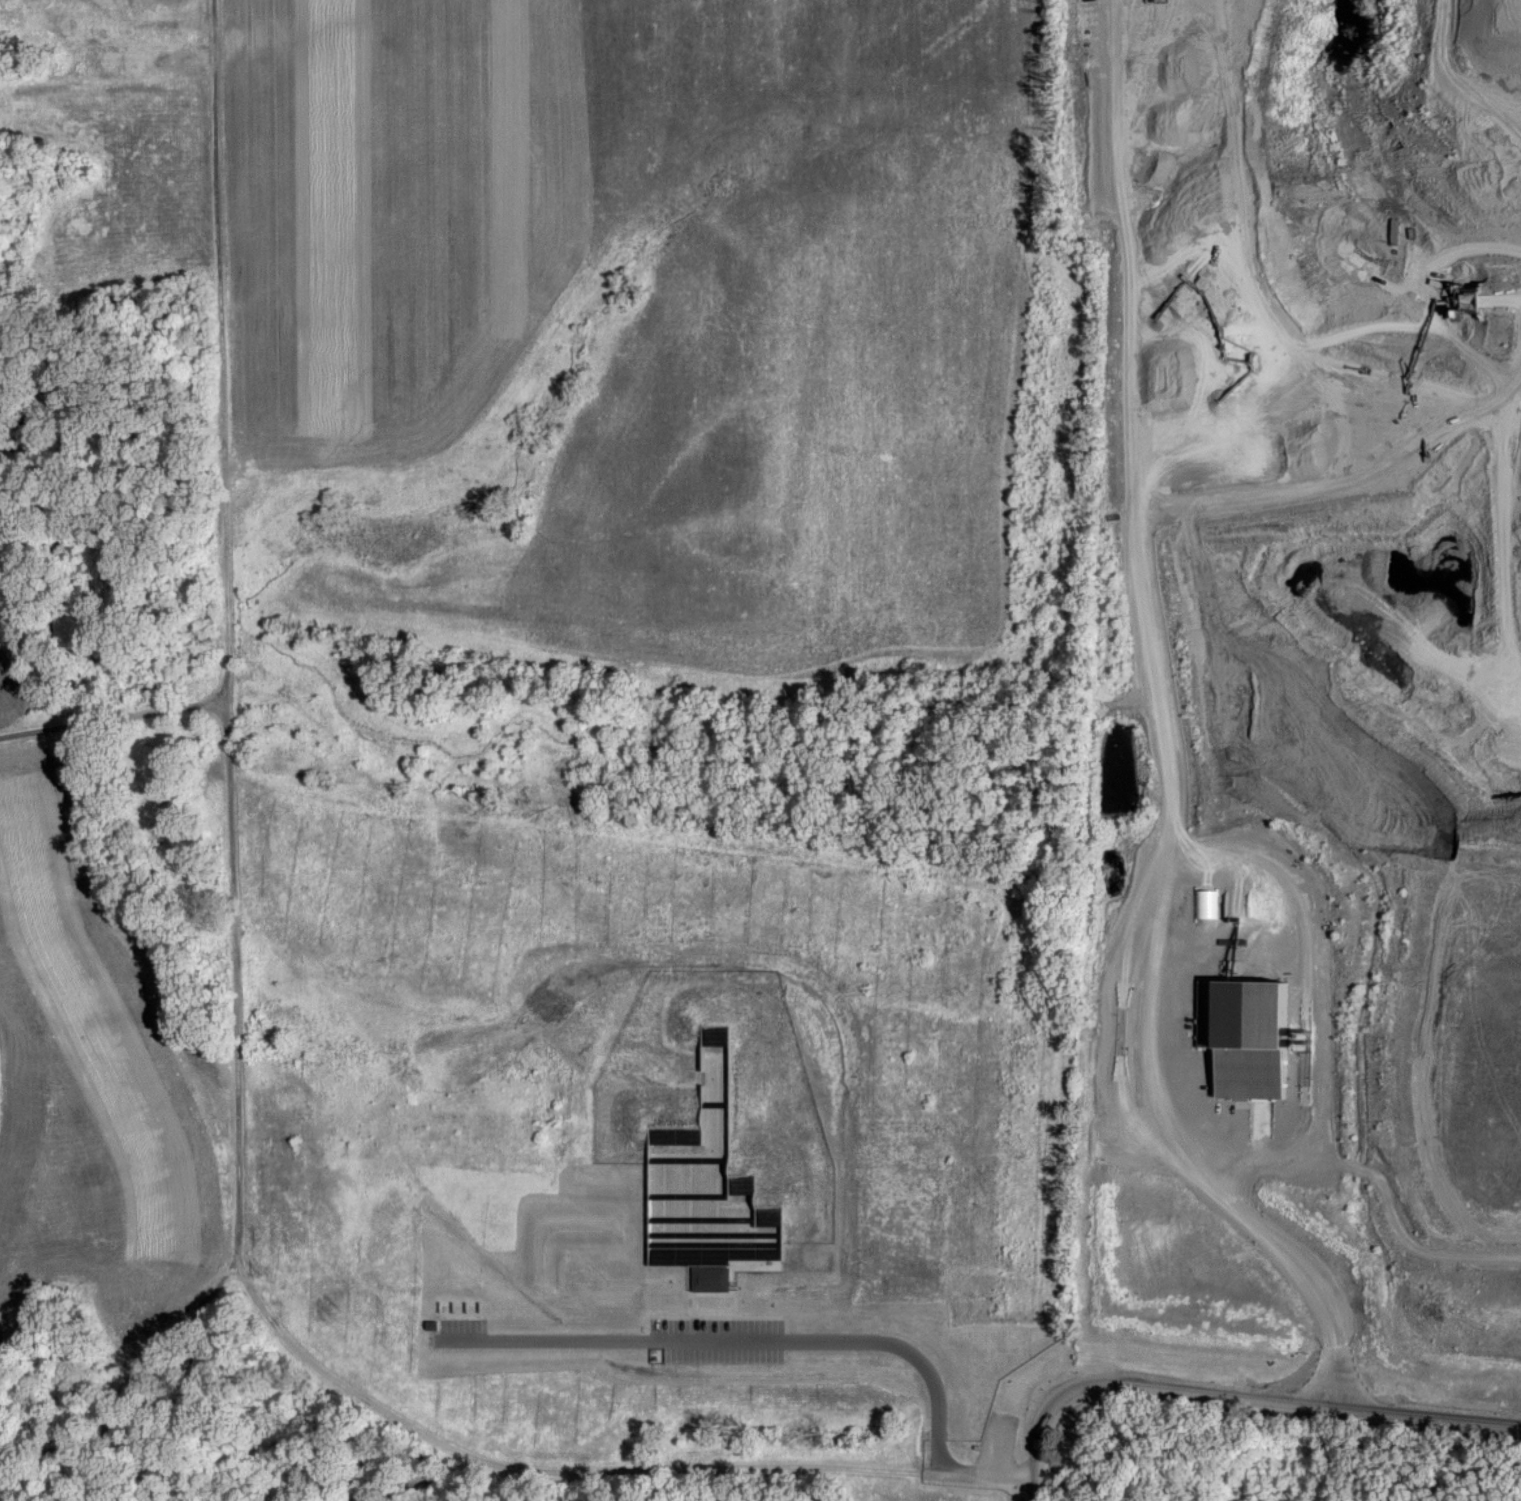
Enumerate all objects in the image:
road: (111, 720)
building: (1207, 903)
road: (232, 1023)
building: (1256, 1034)
road: (1282, 1249)
building: (747, 1264)
building: (713, 1278)
road: (787, 1338)
parking lot: (718, 1343)
road: (1236, 1398)
parking lot: (997, 1453)

